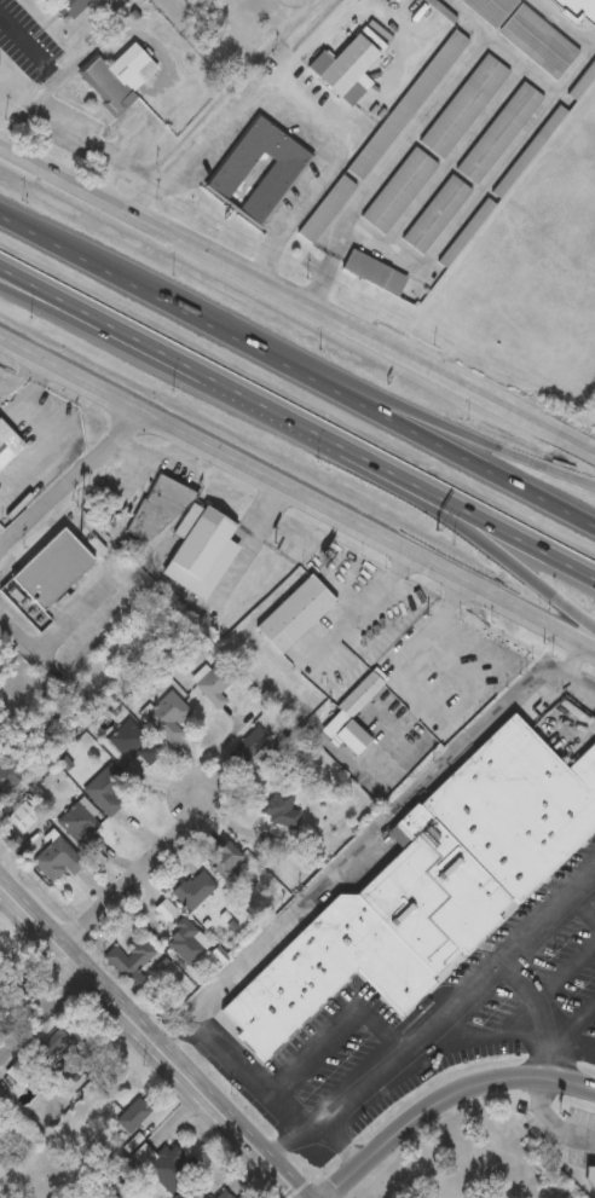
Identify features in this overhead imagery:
building: (70, 6)
building: (525, 31)
road: (302, 51)
building: (345, 63)
road: (48, 76)
building: (582, 76)
building: (121, 79)
building: (584, 83)
building: (406, 100)
building: (463, 102)
road: (294, 108)
building: (497, 128)
road: (99, 141)
building: (527, 147)
building: (283, 167)
building: (398, 186)
building: (325, 206)
building: (434, 210)
road: (457, 214)
building: (464, 228)
building: (372, 270)
road: (46, 291)
road: (46, 299)
road: (296, 299)
road: (166, 301)
road: (243, 395)
road: (41, 418)
road: (464, 429)
building: (7, 445)
road: (463, 456)
road: (71, 484)
road: (297, 494)
building: (157, 511)
road: (495, 527)
building: (200, 548)
road: (495, 550)
building: (52, 566)
building: (293, 613)
road: (53, 636)
road: (578, 683)
building: (215, 684)
building: (363, 694)
building: (168, 717)
building: (132, 737)
building: (248, 741)
building: (109, 791)
building: (281, 809)
building: (82, 828)
road: (364, 838)
building: (58, 860)
building: (224, 861)
road: (134, 879)
building: (433, 885)
building: (195, 890)
building: (166, 910)
building: (185, 942)
building: (131, 961)
road: (41, 1014)
road: (432, 1019)
road: (462, 1038)
road: (559, 1040)
road: (577, 1042)
road: (149, 1043)
road: (247, 1069)
road: (443, 1098)
building: (135, 1115)
road: (550, 1119)
road: (339, 1144)
building: (5, 1162)
building: (168, 1167)
building: (589, 1175)
building: (225, 1194)

